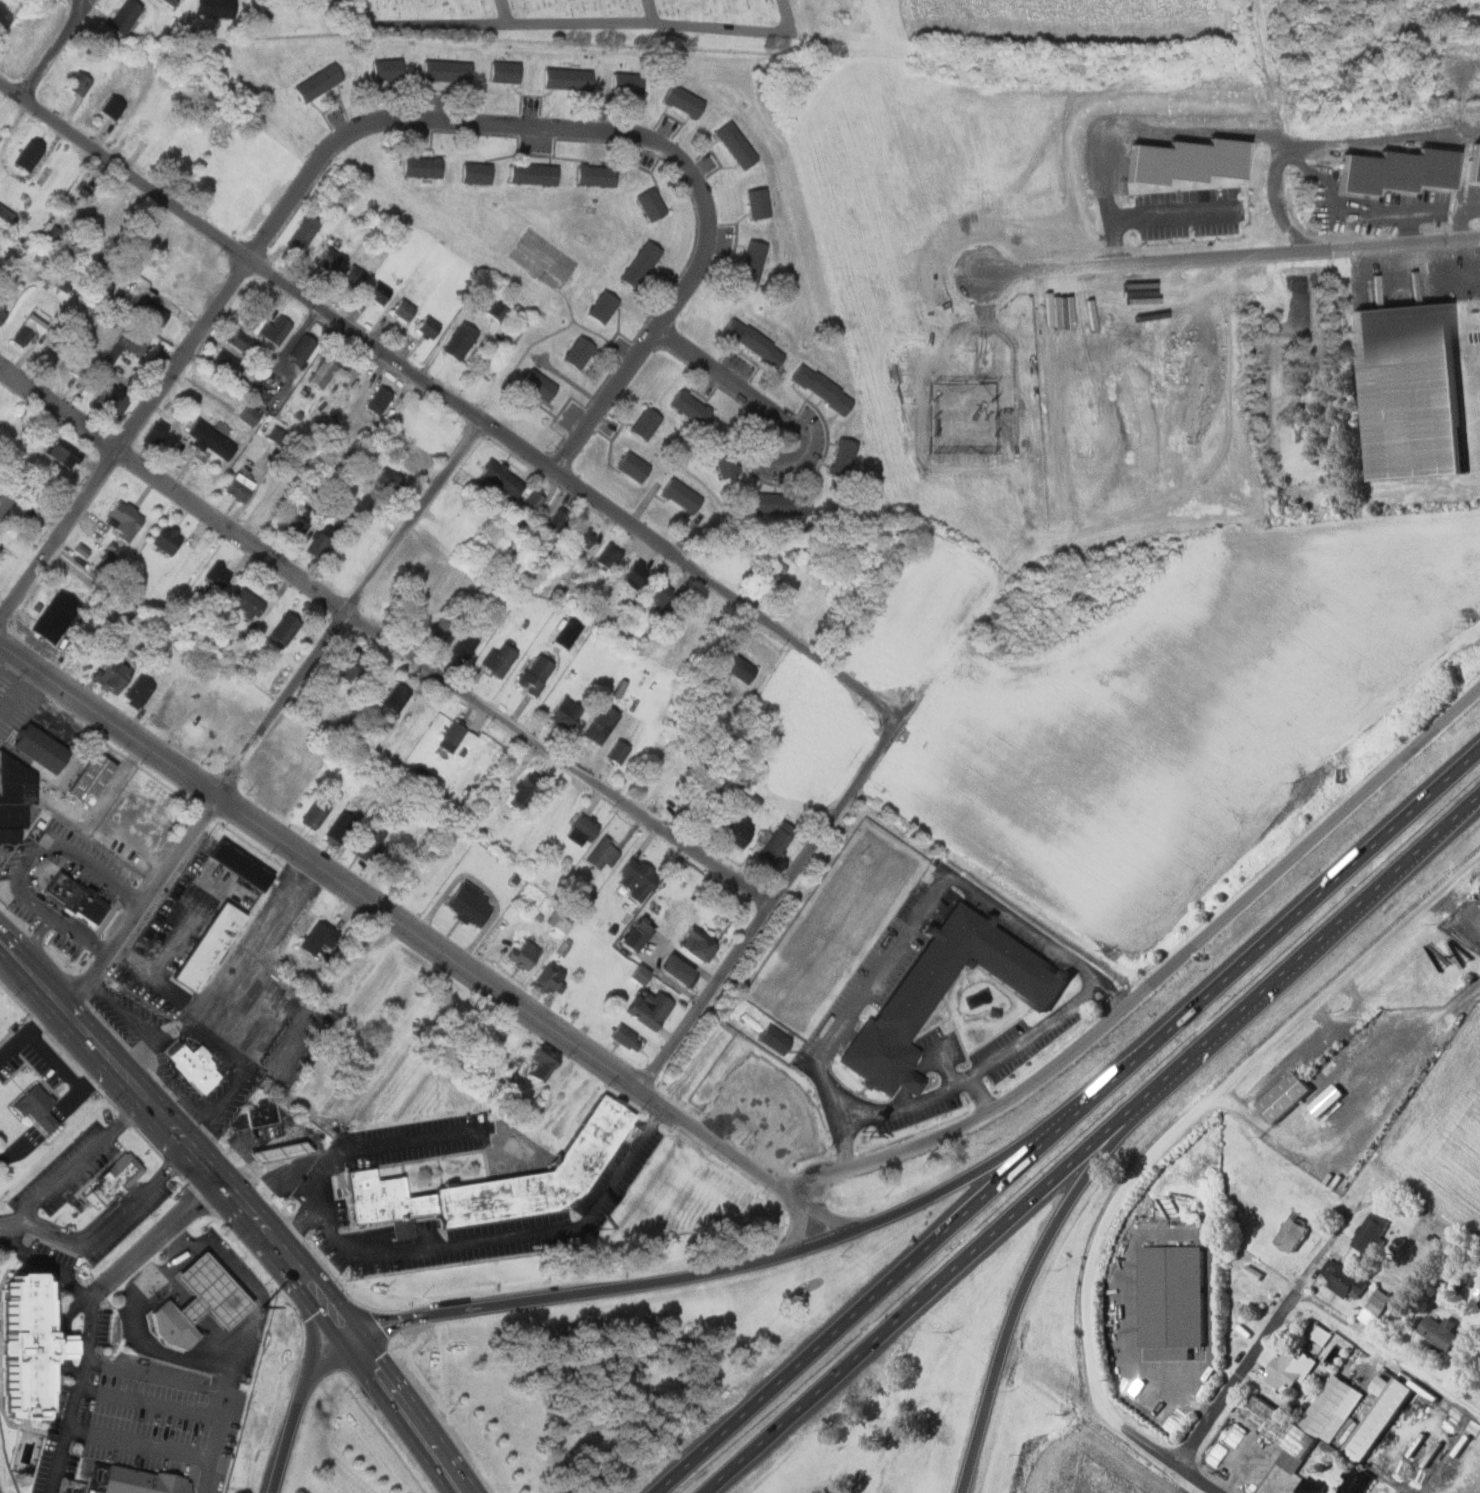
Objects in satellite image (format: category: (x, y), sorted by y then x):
building: (173, 2)
road: (79, 7)
building: (217, 8)
road: (508, 13)
building: (126, 17)
park: (580, 17)
road: (510, 27)
road: (740, 28)
road: (56, 50)
building: (389, 70)
building: (449, 71)
building: (506, 72)
building: (569, 79)
building: (319, 82)
building: (79, 83)
building: (629, 84)
building: (685, 102)
building: (112, 107)
road: (618, 134)
building: (737, 146)
building: (30, 154)
building: (1472, 164)
building: (1188, 165)
building: (424, 166)
building: (1394, 172)
building: (478, 173)
building: (536, 174)
building: (598, 175)
building: (87, 184)
building: (759, 203)
building: (652, 204)
building: (4, 212)
road: (1149, 212)
building: (303, 231)
road: (1230, 251)
building: (328, 259)
building: (753, 263)
building: (643, 264)
building: (354, 276)
building: (58, 284)
building: (378, 292)
building: (605, 305)
building: (499, 309)
building: (402, 310)
building: (3, 311)
building: (151, 311)
building: (427, 327)
building: (277, 329)
building: (26, 331)
building: (461, 339)
building: (242, 342)
building: (756, 342)
building: (128, 343)
building: (302, 347)
building: (580, 351)
building: (227, 363)
building: (79, 367)
building: (323, 370)
road: (725, 380)
building: (540, 384)
building: (823, 388)
building: (1405, 391)
building: (112, 398)
building: (378, 399)
road: (450, 400)
building: (693, 406)
building: (249, 415)
building: (647, 422)
building: (155, 434)
road: (126, 438)
building: (211, 439)
building: (62, 453)
building: (726, 456)
building: (844, 456)
building: (414, 461)
building: (634, 466)
building: (504, 478)
building: (390, 480)
building: (239, 487)
building: (683, 495)
building: (5, 499)
building: (532, 502)
building: (783, 503)
building: (127, 515)
building: (556, 518)
building: (297, 523)
building: (585, 535)
building: (163, 539)
building: (322, 541)
building: (78, 550)
building: (609, 555)
building: (774, 572)
building: (218, 575)
building: (635, 575)
building: (661, 592)
building: (248, 602)
road: (346, 605)
building: (56, 616)
building: (286, 629)
building: (442, 629)
road: (384, 636)
building: (464, 645)
building: (501, 658)
building: (351, 664)
building: (740, 667)
building: (113, 674)
building: (537, 674)
building: (138, 692)
building: (396, 698)
building: (568, 712)
building: (603, 723)
building: (461, 736)
building: (42, 749)
building: (619, 751)
building: (93, 778)
building: (465, 784)
building: (527, 792)
building: (12, 797)
building: (737, 797)
building: (695, 801)
building: (317, 811)
building: (340, 828)
building: (583, 830)
building: (739, 830)
building: (368, 842)
building: (778, 842)
building: (604, 854)
building: (242, 864)
building: (639, 879)
road: (143, 898)
building: (78, 899)
road: (770, 904)
building: (472, 905)
road: (926, 908)
road: (393, 918)
building: (557, 922)
building: (639, 934)
building: (319, 937)
building: (699, 945)
building: (212, 947)
building: (525, 954)
building: (683, 969)
building: (642, 975)
building: (552, 978)
road: (1156, 979)
building: (910, 995)
building: (652, 1009)
road: (81, 1013)
road: (73, 1034)
building: (628, 1037)
building: (777, 1040)
building: (543, 1064)
building: (196, 1066)
road: (946, 1066)
road: (981, 1071)
road: (918, 1076)
road: (981, 1096)
building: (1289, 1097)
road: (1216, 1102)
building: (38, 1109)
building: (263, 1115)
road: (136, 1117)
road: (1063, 1120)
road: (1090, 1141)
road: (375, 1148)
building: (284, 1152)
parking lot: (78, 1169)
road: (80, 1169)
building: (116, 1180)
building: (499, 1182)
road: (227, 1187)
road: (945, 1188)
road: (36, 1213)
road: (822, 1215)
parking lot: (140, 1217)
road: (798, 1226)
road: (1051, 1228)
road: (110, 1231)
building: (1297, 1234)
building: (1372, 1235)
road: (155, 1239)
road: (180, 1240)
road: (479, 1241)
parking lot: (64, 1254)
road: (45, 1260)
road: (180, 1262)
building: (1345, 1281)
building: (212, 1292)
road: (334, 1295)
building: (1176, 1297)
road: (474, 1308)
building: (1376, 1308)
road: (58, 1320)
parking lot: (111, 1323)
building: (176, 1328)
traffic signals: (360, 1329)
road: (94, 1333)
building: (1442, 1333)
building: (1317, 1334)
road: (67, 1338)
building: (25, 1345)
road: (61, 1347)
building: (64, 1347)
road: (1387, 1353)
road: (1251, 1357)
building: (1293, 1371)
road: (1053, 1381)
road: (371, 1383)
road: (156, 1402)
road: (53, 1406)
road: (420, 1410)
parking lot: (171, 1416)
building: (1334, 1421)
road: (26, 1428)
road: (228, 1429)
road: (68, 1434)
road: (146, 1440)
parking lot: (58, 1441)
road: (1160, 1454)
building: (1357, 1480)
building: (150, 1481)
building: (1314, 1486)
road: (0, 1489)

